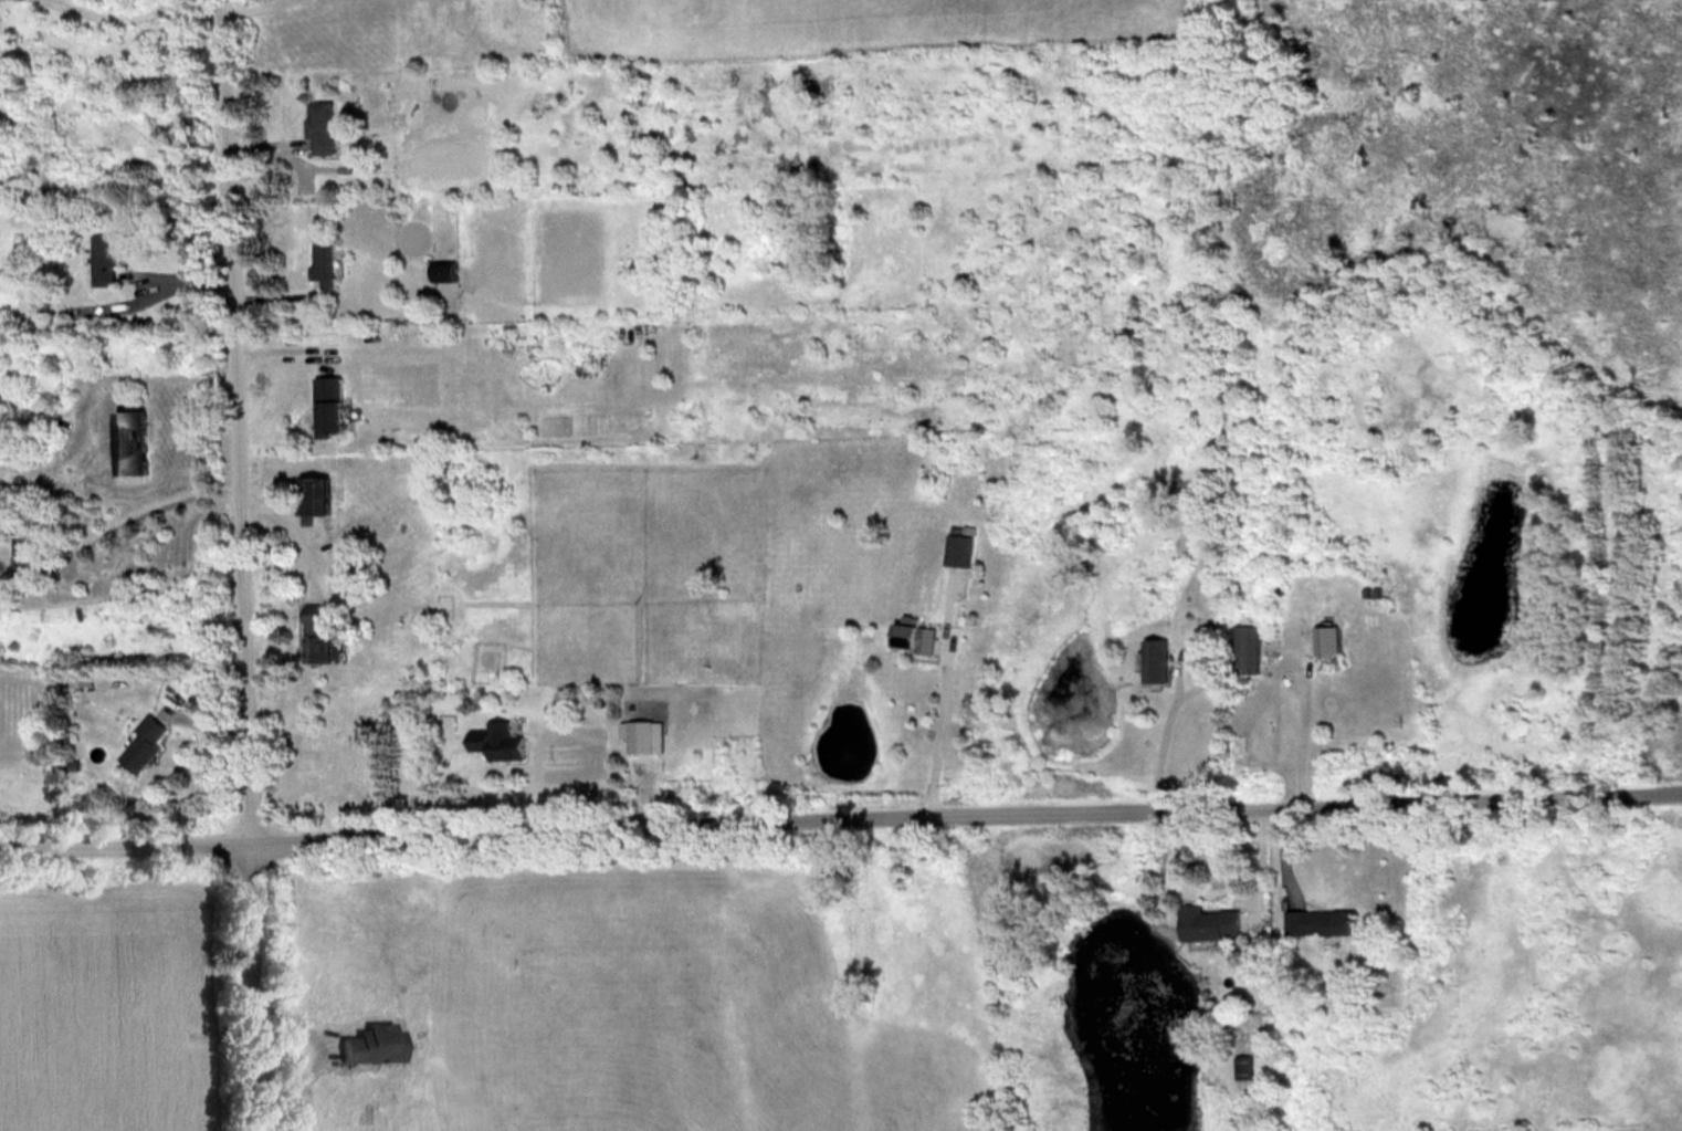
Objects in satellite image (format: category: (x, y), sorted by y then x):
building: (402, 108)
building: (319, 126)
building: (103, 260)
building: (323, 263)
building: (442, 272)
road: (181, 280)
building: (328, 405)
road: (242, 418)
building: (130, 442)
building: (313, 498)
road: (153, 510)
road: (299, 523)
building: (23, 548)
building: (959, 551)
building: (315, 636)
building: (914, 638)
building: (1327, 641)
building: (1248, 650)
building: (1155, 661)
road: (1165, 732)
road: (1299, 733)
building: (640, 737)
road: (942, 737)
building: (498, 741)
building: (141, 746)
road: (840, 814)
building: (1209, 923)
building: (1321, 923)
road: (261, 983)
park: (124, 991)
building: (371, 1045)
building: (1244, 1067)

